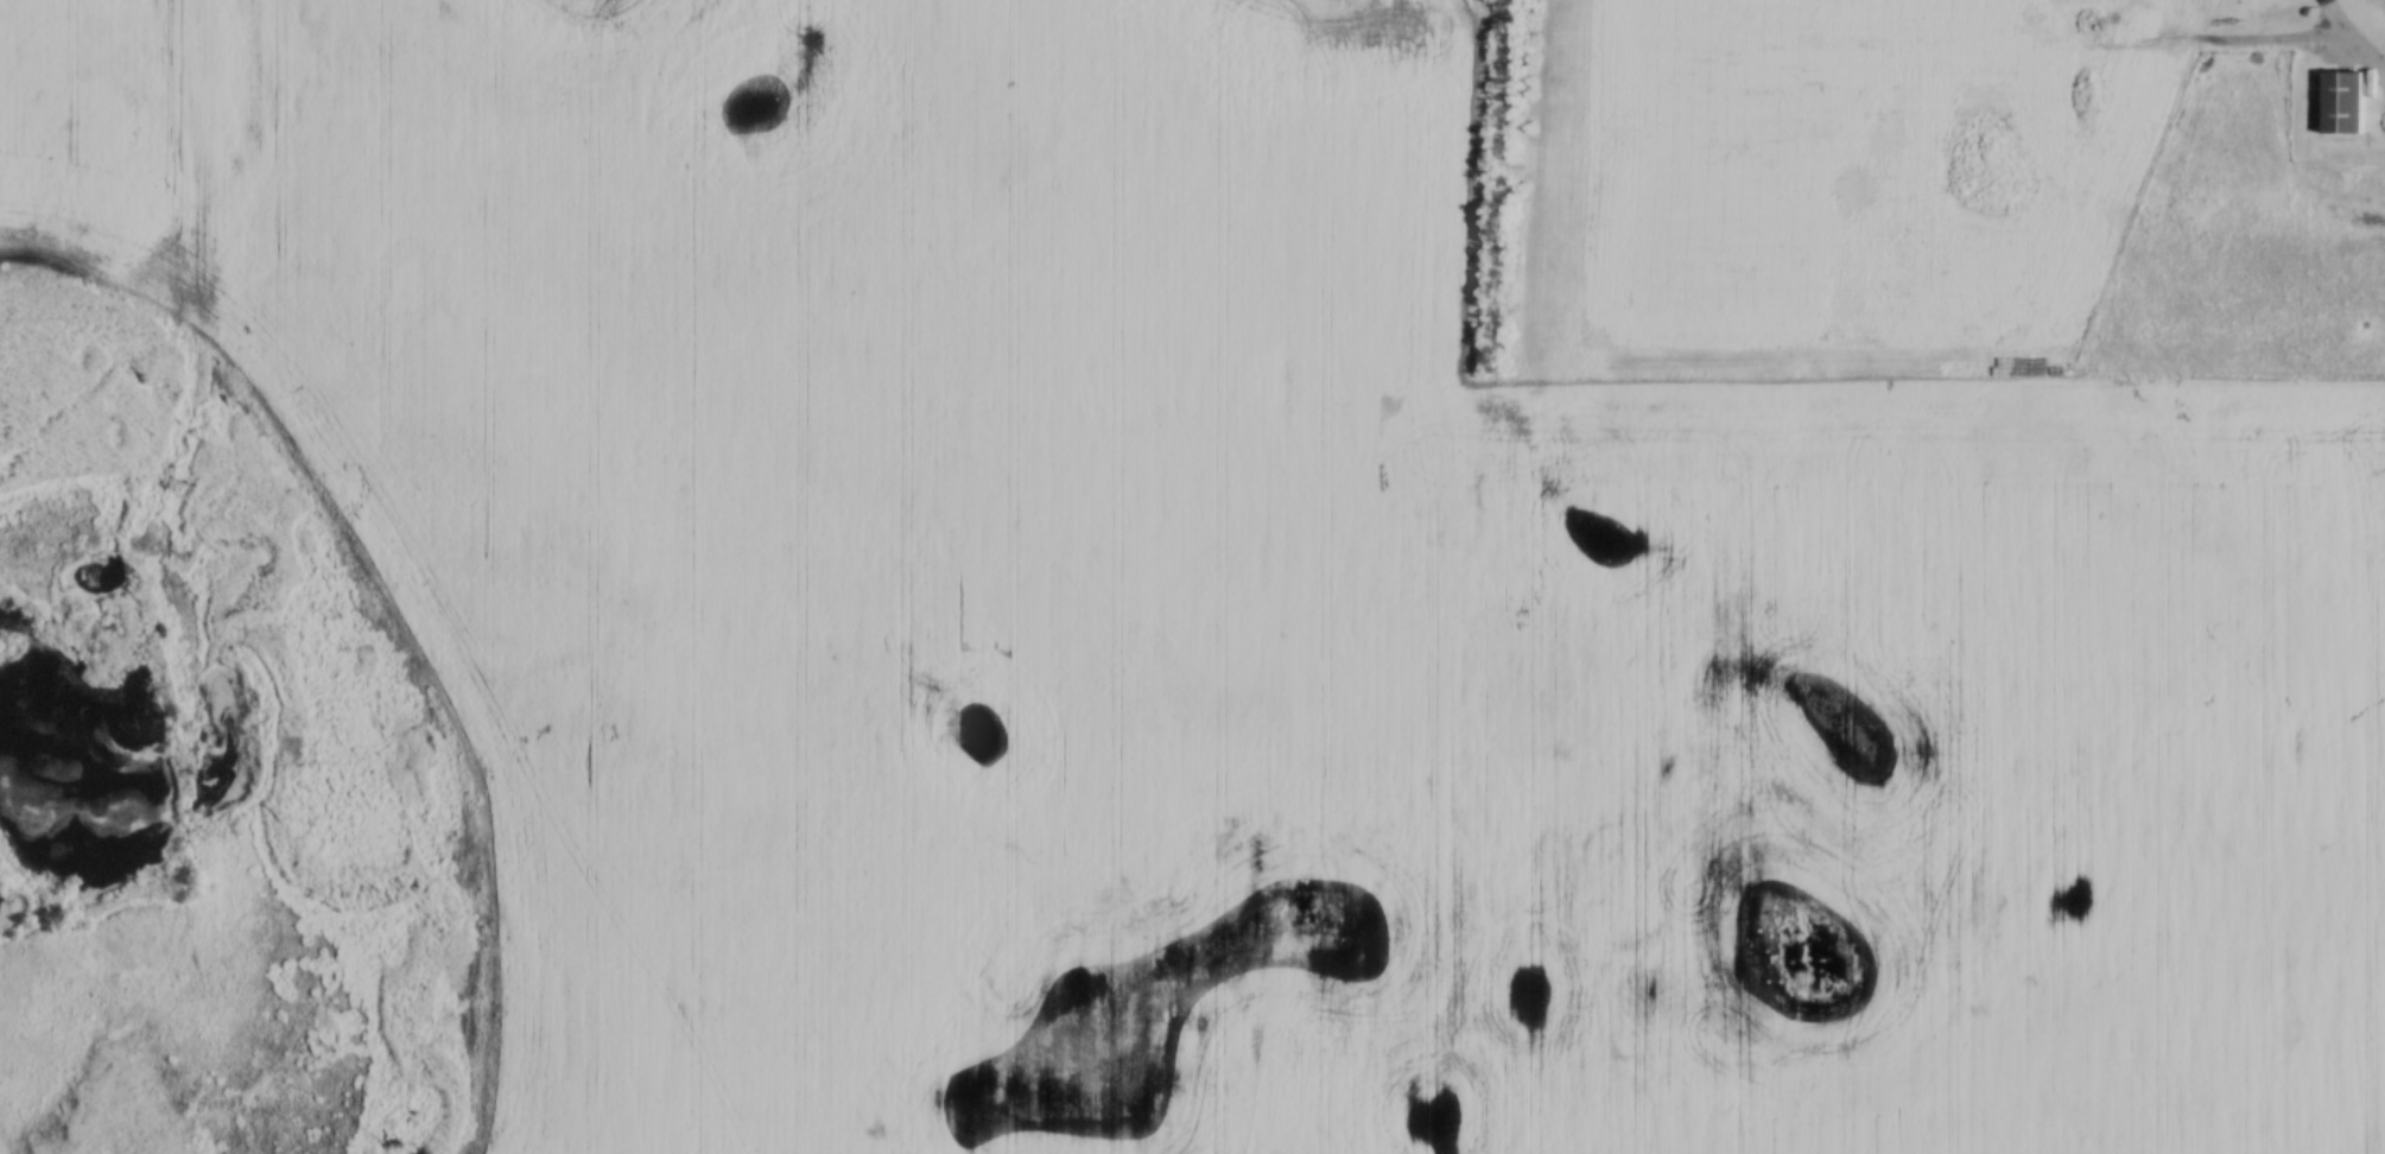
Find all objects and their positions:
building: (2087, 18)
road: (2355, 34)
building: (2340, 100)

